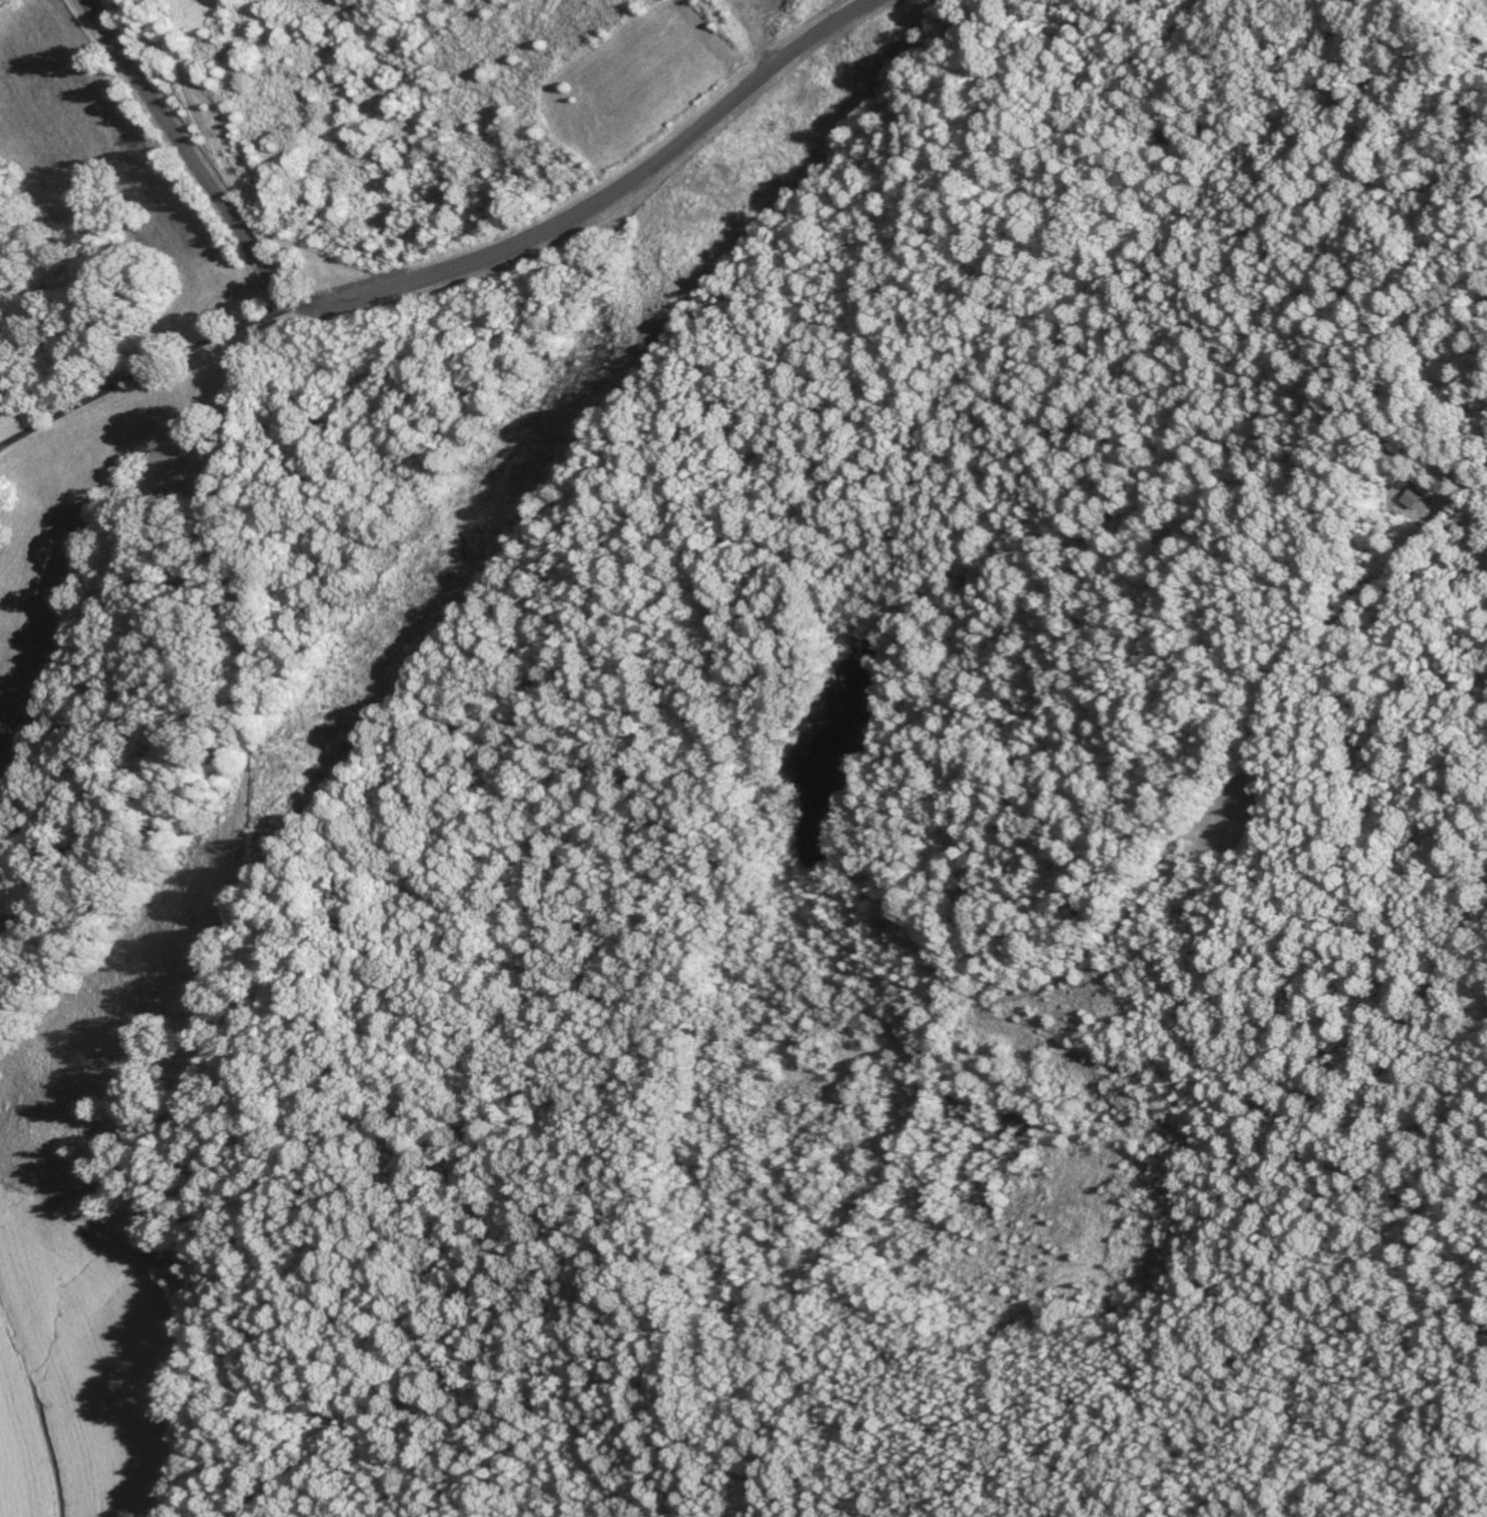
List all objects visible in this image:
road: (845, 12)
park: (313, 268)
road: (415, 277)
building: (1411, 498)

